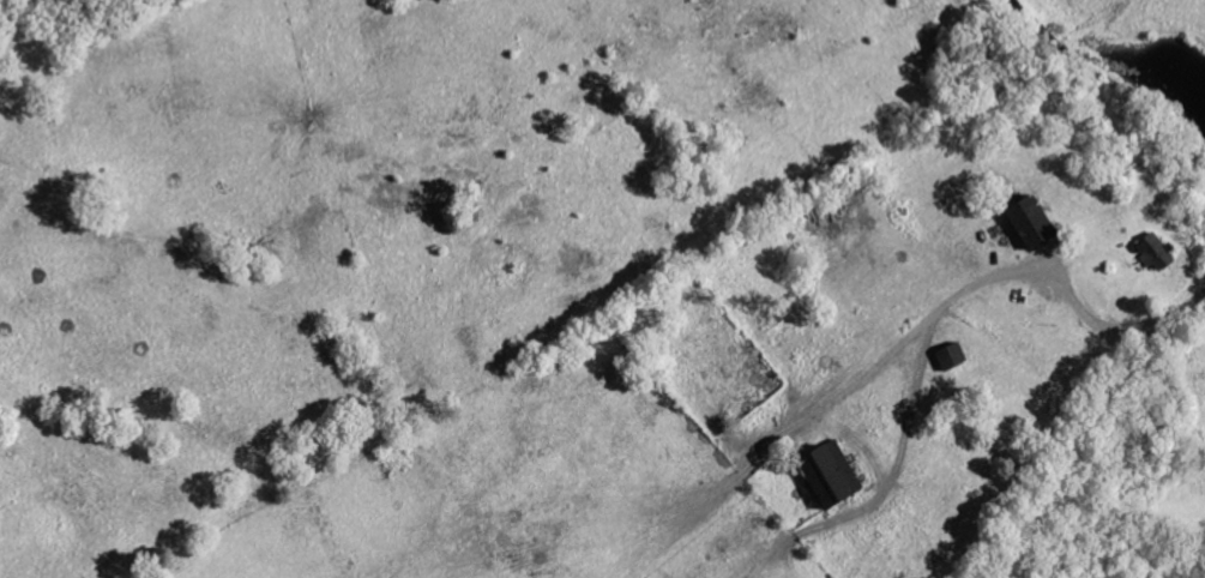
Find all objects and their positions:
building: (1024, 223)
building: (1151, 252)
road: (999, 277)
building: (947, 357)
building: (825, 475)

